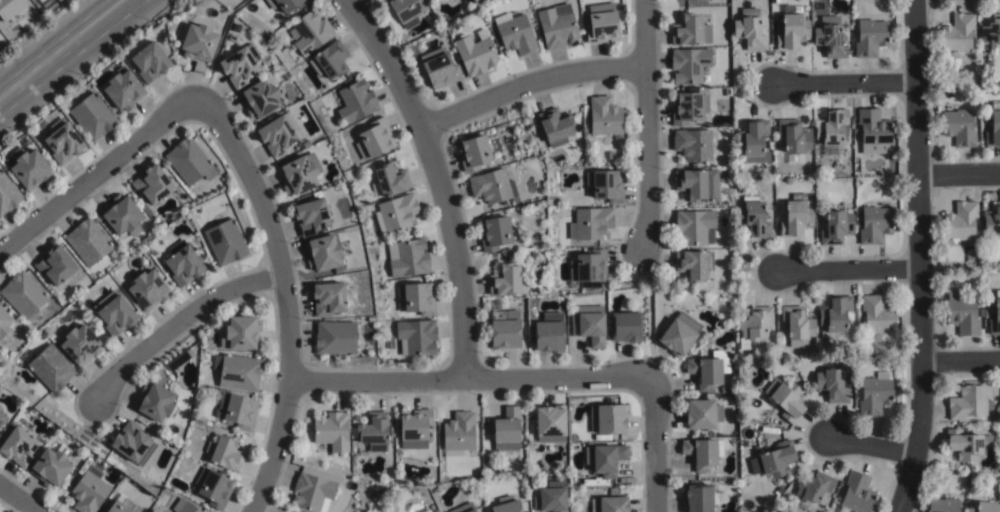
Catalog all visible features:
building: (266, 0)
building: (689, 0)
building: (286, 3)
building: (10, 9)
building: (405, 9)
building: (601, 25)
building: (556, 27)
building: (310, 30)
building: (749, 31)
building: (690, 32)
building: (792, 32)
building: (514, 34)
building: (956, 34)
building: (232, 36)
building: (991, 37)
building: (198, 38)
building: (871, 38)
building: (831, 42)
road: (62, 46)
building: (473, 56)
building: (329, 57)
building: (966, 57)
building: (152, 59)
building: (238, 63)
building: (691, 66)
building: (440, 67)
road: (531, 83)
road: (842, 83)
building: (124, 86)
building: (727, 92)
building: (259, 95)
building: (355, 100)
building: (688, 110)
building: (93, 114)
building: (605, 115)
building: (556, 127)
road: (647, 127)
building: (958, 128)
building: (993, 128)
building: (833, 130)
building: (275, 132)
building: (874, 133)
building: (374, 137)
building: (794, 137)
building: (64, 140)
building: (305, 142)
building: (754, 143)
building: (693, 146)
building: (472, 150)
building: (610, 153)
building: (189, 160)
building: (30, 166)
building: (299, 171)
road: (957, 171)
road: (95, 175)
building: (390, 178)
road: (438, 180)
building: (153, 181)
building: (605, 182)
building: (491, 185)
building: (697, 186)
building: (8, 193)
building: (397, 211)
building: (121, 212)
building: (311, 213)
building: (796, 218)
building: (753, 219)
building: (960, 219)
building: (590, 221)
building: (992, 223)
building: (875, 226)
building: (693, 228)
building: (836, 229)
building: (493, 231)
building: (88, 239)
building: (226, 240)
building: (322, 250)
building: (407, 256)
road: (917, 257)
building: (56, 262)
building: (185, 263)
building: (588, 267)
building: (693, 267)
road: (847, 271)
building: (506, 279)
building: (149, 287)
building: (23, 293)
road: (286, 294)
building: (328, 296)
building: (416, 296)
building: (979, 311)
building: (985, 311)
building: (961, 312)
building: (117, 313)
building: (995, 315)
building: (834, 317)
building: (879, 317)
building: (4, 319)
road: (179, 322)
building: (755, 322)
building: (589, 324)
building: (625, 325)
building: (799, 325)
building: (241, 331)
building: (503, 332)
building: (679, 332)
building: (548, 334)
building: (416, 335)
building: (335, 336)
building: (81, 342)
building: (180, 358)
road: (960, 360)
building: (50, 366)
building: (708, 368)
building: (240, 371)
road: (470, 380)
building: (832, 383)
building: (875, 393)
building: (786, 396)
building: (157, 400)
building: (969, 401)
building: (0, 406)
building: (0, 408)
building: (238, 409)
building: (702, 412)
building: (2, 416)
building: (609, 418)
building: (551, 423)
building: (415, 427)
building: (506, 429)
building: (373, 430)
building: (331, 431)
building: (459, 434)
building: (134, 442)
road: (870, 443)
building: (967, 443)
building: (18, 445)
road: (652, 445)
building: (226, 451)
building: (700, 452)
building: (606, 457)
building: (773, 460)
building: (51, 464)
building: (214, 486)
building: (89, 490)
building: (812, 490)
building: (312, 491)
building: (857, 493)
road: (19, 497)
building: (551, 497)
building: (699, 497)
building: (611, 503)
building: (507, 504)
building: (942, 504)
building: (122, 505)
building: (185, 506)
building: (986, 506)
building: (466, 508)

